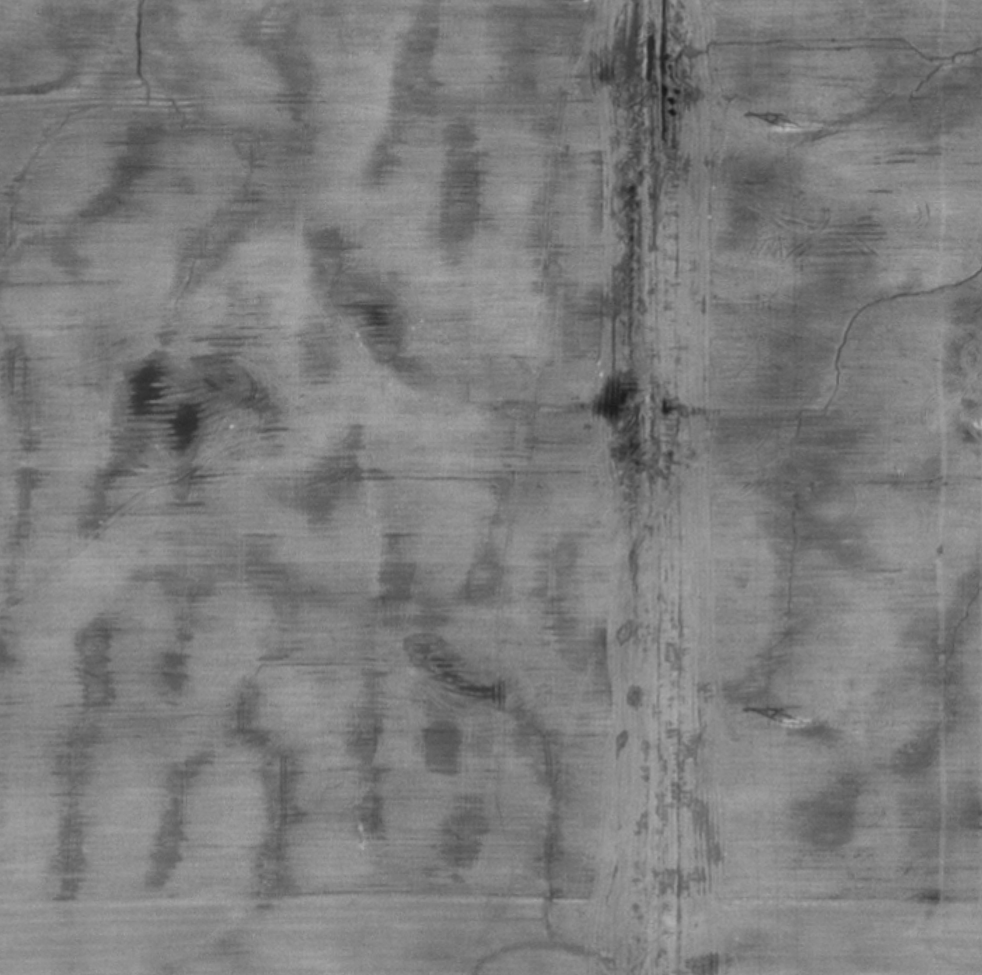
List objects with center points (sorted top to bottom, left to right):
power tower: (800, 129)
power tower: (798, 719)

